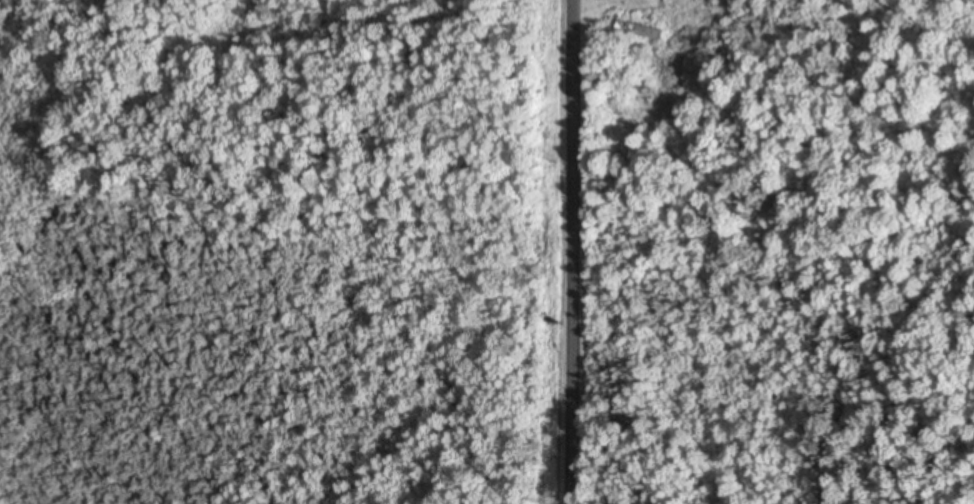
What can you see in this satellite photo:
road: (564, 252)

